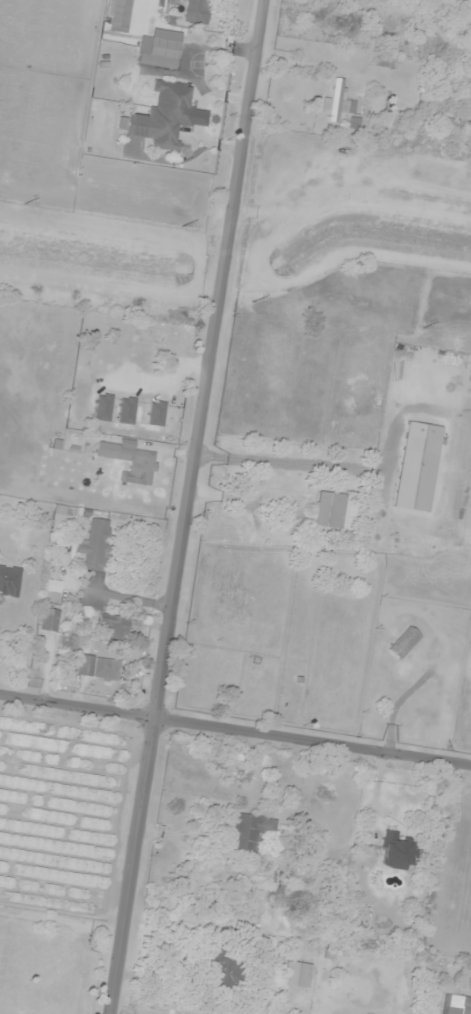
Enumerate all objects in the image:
building: (199, 10)
building: (160, 49)
building: (385, 60)
building: (339, 103)
building: (166, 115)
building: (444, 121)
building: (355, 123)
building: (104, 407)
building: (127, 410)
building: (157, 413)
building: (139, 466)
building: (418, 467)
road: (186, 506)
building: (329, 510)
building: (97, 546)
building: (10, 580)
building: (54, 586)
building: (50, 619)
building: (115, 627)
building: (403, 643)
building: (99, 668)
road: (77, 702)
road: (313, 738)
road: (379, 784)
building: (250, 835)
building: (398, 851)
building: (269, 878)
building: (225, 970)
building: (297, 975)
building: (456, 1005)

